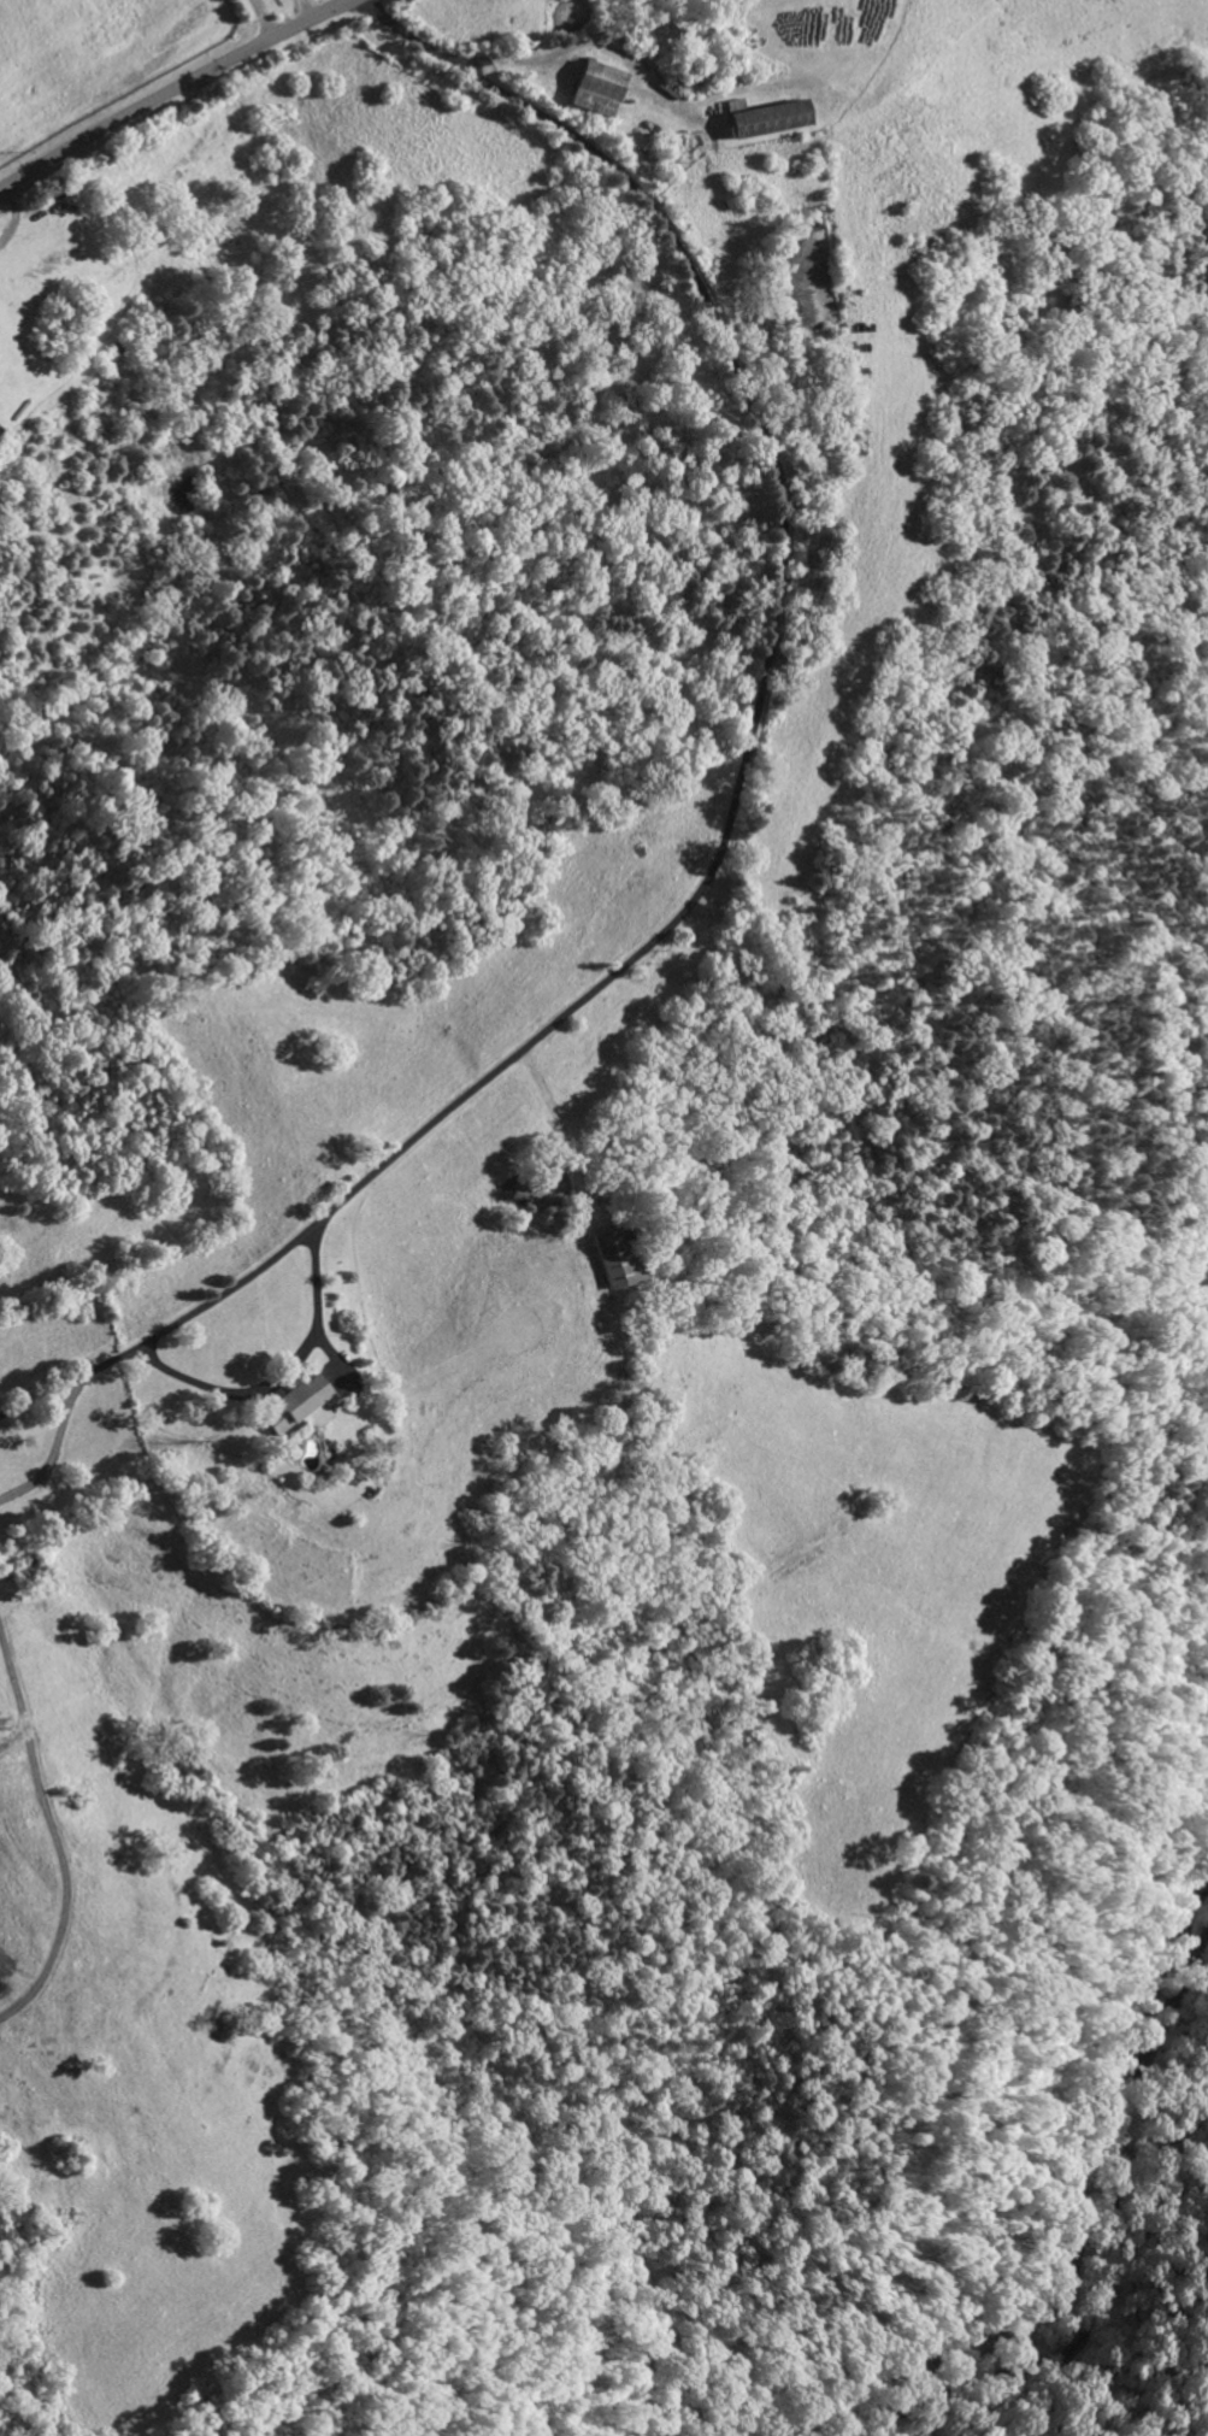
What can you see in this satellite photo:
road: (263, 17)
building: (595, 87)
road: (169, 88)
building: (766, 117)
road: (17, 218)
building: (1, 430)
road: (736, 794)
building: (612, 1254)
road: (282, 1372)
building: (299, 1405)
building: (338, 1460)
building: (30, 1569)
road: (1109, 2258)

